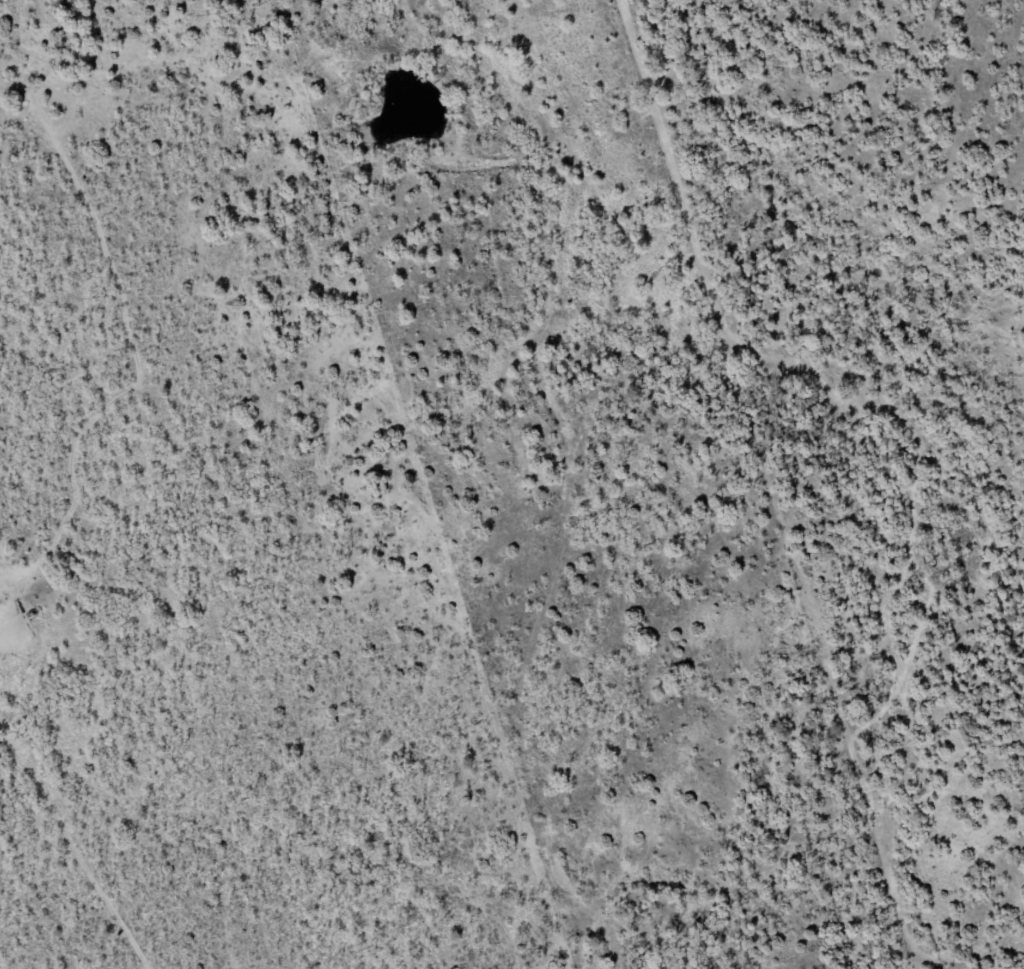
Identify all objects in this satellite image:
road: (576, 484)

